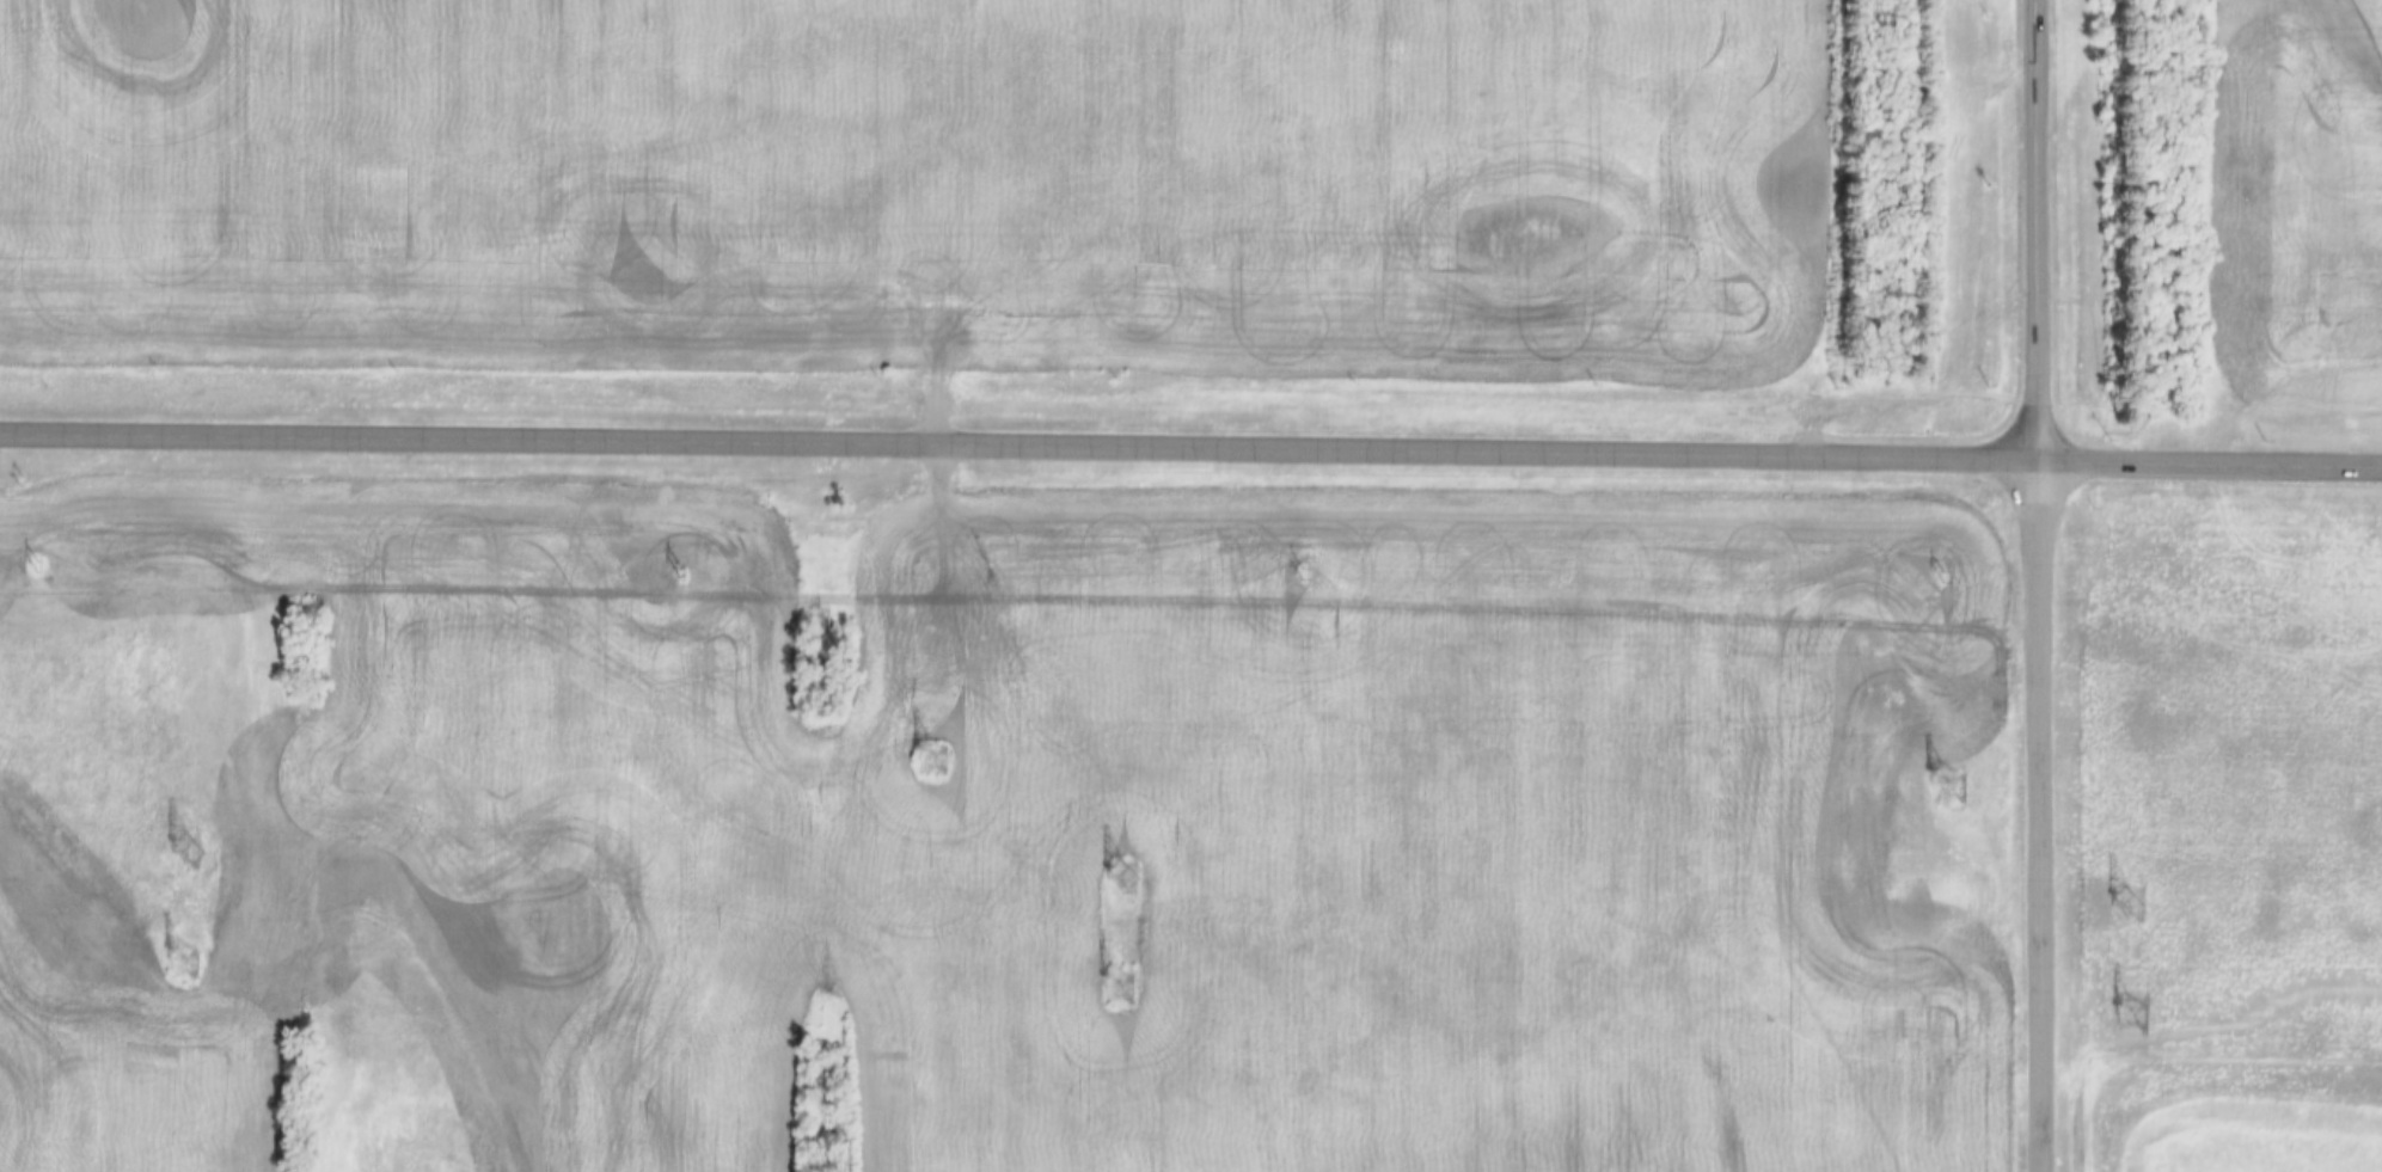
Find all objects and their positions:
road: (2038, 231)
road: (1019, 447)
road: (2211, 464)
power tower: (38, 563)
power tower: (678, 573)
power tower: (1940, 573)
power tower: (1296, 578)
power tower: (942, 762)
power tower: (1953, 790)
road: (2040, 816)
power tower: (189, 854)
power tower: (1126, 878)
power tower: (2125, 904)
power tower: (189, 959)
power tower: (1126, 986)
power tower: (2142, 1010)

